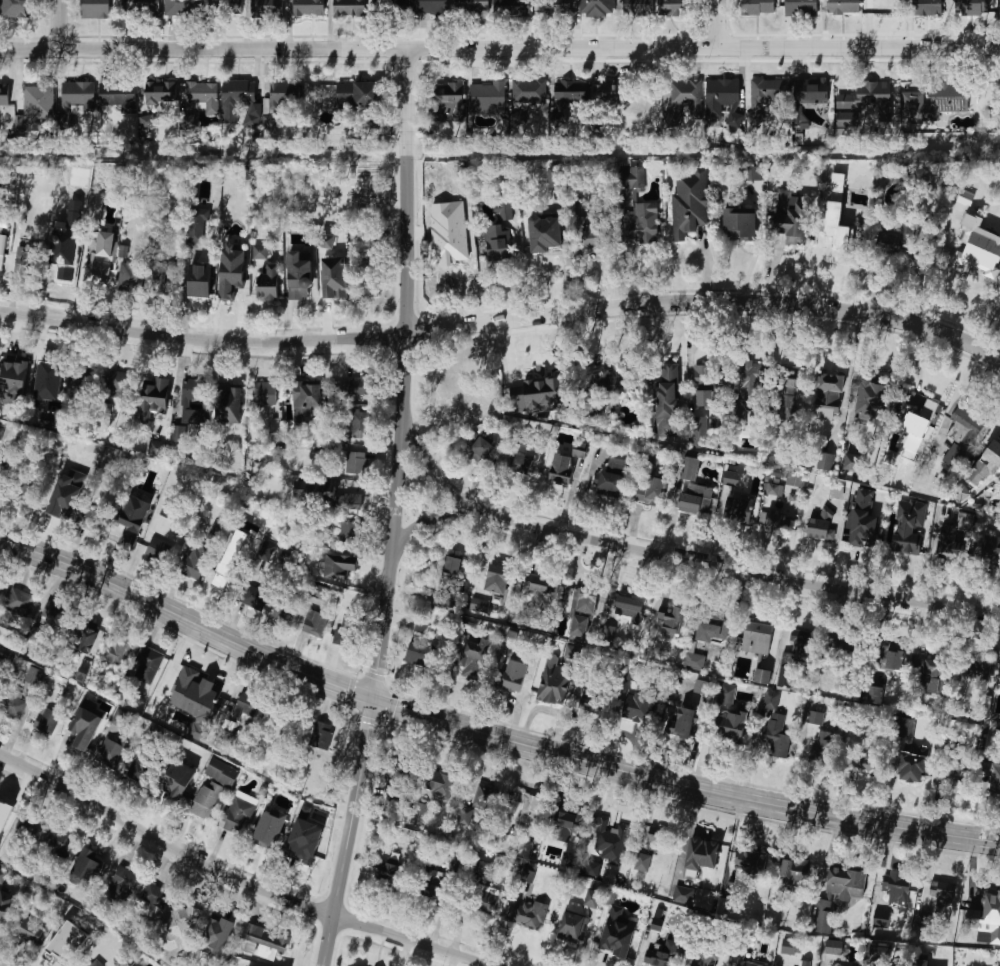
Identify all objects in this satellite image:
building: (395, 2)
building: (955, 3)
building: (430, 6)
building: (471, 6)
building: (842, 6)
building: (979, 6)
building: (215, 7)
building: (514, 7)
building: (556, 7)
building: (595, 7)
building: (678, 7)
building: (757, 7)
building: (883, 7)
building: (927, 7)
building: (141, 8)
building: (181, 8)
building: (267, 8)
building: (310, 8)
building: (349, 8)
building: (638, 8)
building: (799, 8)
building: (17, 9)
building: (95, 9)
road: (723, 23)
road: (63, 24)
road: (500, 48)
building: (528, 91)
building: (767, 92)
building: (812, 92)
building: (161, 93)
building: (609, 93)
building: (357, 94)
building: (874, 94)
building: (5, 95)
building: (487, 95)
building: (570, 95)
building: (79, 96)
building: (118, 96)
building: (202, 96)
building: (687, 98)
building: (952, 98)
building: (238, 99)
building: (723, 99)
building: (278, 100)
building: (447, 102)
building: (35, 106)
building: (518, 119)
building: (148, 122)
building: (753, 173)
building: (630, 175)
building: (555, 177)
building: (7, 195)
building: (966, 198)
building: (690, 203)
building: (93, 207)
building: (504, 208)
building: (4, 221)
building: (642, 222)
building: (198, 224)
building: (740, 224)
building: (788, 228)
building: (842, 231)
building: (545, 234)
building: (596, 236)
building: (892, 238)
building: (327, 241)
building: (976, 241)
building: (454, 247)
building: (499, 247)
building: (1, 252)
building: (260, 252)
building: (24, 260)
building: (99, 260)
building: (57, 268)
building: (232, 271)
building: (130, 277)
building: (299, 277)
building: (164, 279)
building: (335, 279)
building: (200, 281)
building: (365, 282)
building: (270, 284)
road: (503, 322)
road: (405, 374)
building: (47, 380)
building: (13, 382)
building: (118, 384)
building: (357, 386)
building: (704, 386)
building: (748, 386)
building: (608, 387)
building: (788, 393)
building: (264, 394)
building: (535, 395)
building: (157, 397)
building: (667, 397)
building: (829, 397)
building: (305, 400)
building: (870, 401)
building: (921, 401)
building: (228, 406)
building: (188, 408)
building: (50, 420)
building: (358, 424)
building: (964, 426)
building: (918, 429)
building: (700, 431)
building: (155, 448)
building: (482, 450)
building: (992, 453)
building: (954, 455)
building: (618, 460)
building: (825, 461)
building: (852, 462)
building: (355, 463)
building: (522, 466)
building: (566, 466)
building: (2, 473)
building: (732, 479)
building: (795, 479)
building: (610, 483)
building: (692, 488)
building: (773, 489)
building: (316, 492)
building: (649, 492)
building: (25, 496)
building: (352, 505)
building: (60, 508)
building: (854, 508)
building: (738, 511)
building: (134, 517)
building: (864, 519)
building: (772, 521)
building: (94, 522)
road: (425, 525)
building: (818, 525)
building: (349, 534)
building: (214, 536)
building: (911, 544)
building: (953, 544)
building: (990, 550)
building: (159, 551)
building: (267, 551)
road: (672, 557)
building: (230, 559)
building: (194, 562)
building: (341, 567)
building: (451, 572)
building: (498, 579)
building: (0, 583)
building: (0, 584)
building: (542, 585)
building: (320, 592)
building: (254, 596)
building: (19, 601)
building: (587, 603)
building: (626, 606)
building: (287, 610)
building: (53, 618)
building: (312, 621)
building: (672, 622)
building: (711, 627)
building: (85, 632)
building: (608, 632)
building: (346, 635)
building: (511, 638)
building: (758, 639)
building: (421, 645)
building: (117, 647)
building: (805, 649)
building: (887, 659)
building: (472, 661)
building: (693, 661)
building: (145, 662)
building: (1, 663)
building: (978, 670)
building: (927, 672)
building: (181, 675)
building: (510, 675)
building: (763, 676)
building: (34, 677)
building: (551, 682)
building: (701, 686)
building: (211, 692)
building: (725, 693)
building: (873, 694)
traffic signals: (369, 697)
building: (771, 700)
building: (591, 702)
building: (11, 706)
building: (247, 707)
building: (639, 707)
building: (814, 717)
building: (121, 718)
building: (46, 720)
building: (274, 722)
building: (686, 724)
building: (86, 726)
building: (736, 727)
building: (906, 729)
road: (486, 731)
building: (776, 734)
building: (322, 735)
building: (111, 752)
building: (823, 754)
building: (863, 760)
building: (143, 766)
building: (912, 768)
building: (398, 769)
building: (994, 775)
building: (953, 777)
building: (179, 780)
building: (440, 784)
building: (214, 786)
building: (486, 797)
building: (534, 809)
building: (419, 812)
building: (5, 813)
building: (237, 814)
building: (464, 815)
building: (569, 822)
road: (345, 831)
building: (268, 837)
building: (661, 837)
building: (48, 838)
building: (593, 839)
building: (608, 840)
building: (305, 841)
building: (702, 855)
building: (643, 862)
building: (751, 862)
building: (482, 869)
building: (87, 870)
building: (387, 872)
building: (796, 872)
building: (528, 875)
building: (2, 876)
road: (237, 879)
building: (430, 883)
building: (121, 884)
building: (733, 888)
building: (896, 888)
building: (941, 891)
building: (683, 894)
building: (154, 896)
building: (837, 896)
building: (594, 898)
building: (483, 900)
building: (6, 906)
building: (528, 915)
building: (986, 918)
building: (182, 919)
building: (881, 919)
building: (656, 924)
building: (574, 927)
building: (31, 931)
building: (618, 933)
building: (216, 936)
building: (262, 940)
building: (792, 946)
building: (835, 947)
building: (61, 950)
building: (878, 951)
building: (662, 954)
building: (708, 956)
building: (92, 963)
building: (804, 963)
building: (922, 963)
building: (256, 964)
building: (749, 964)

